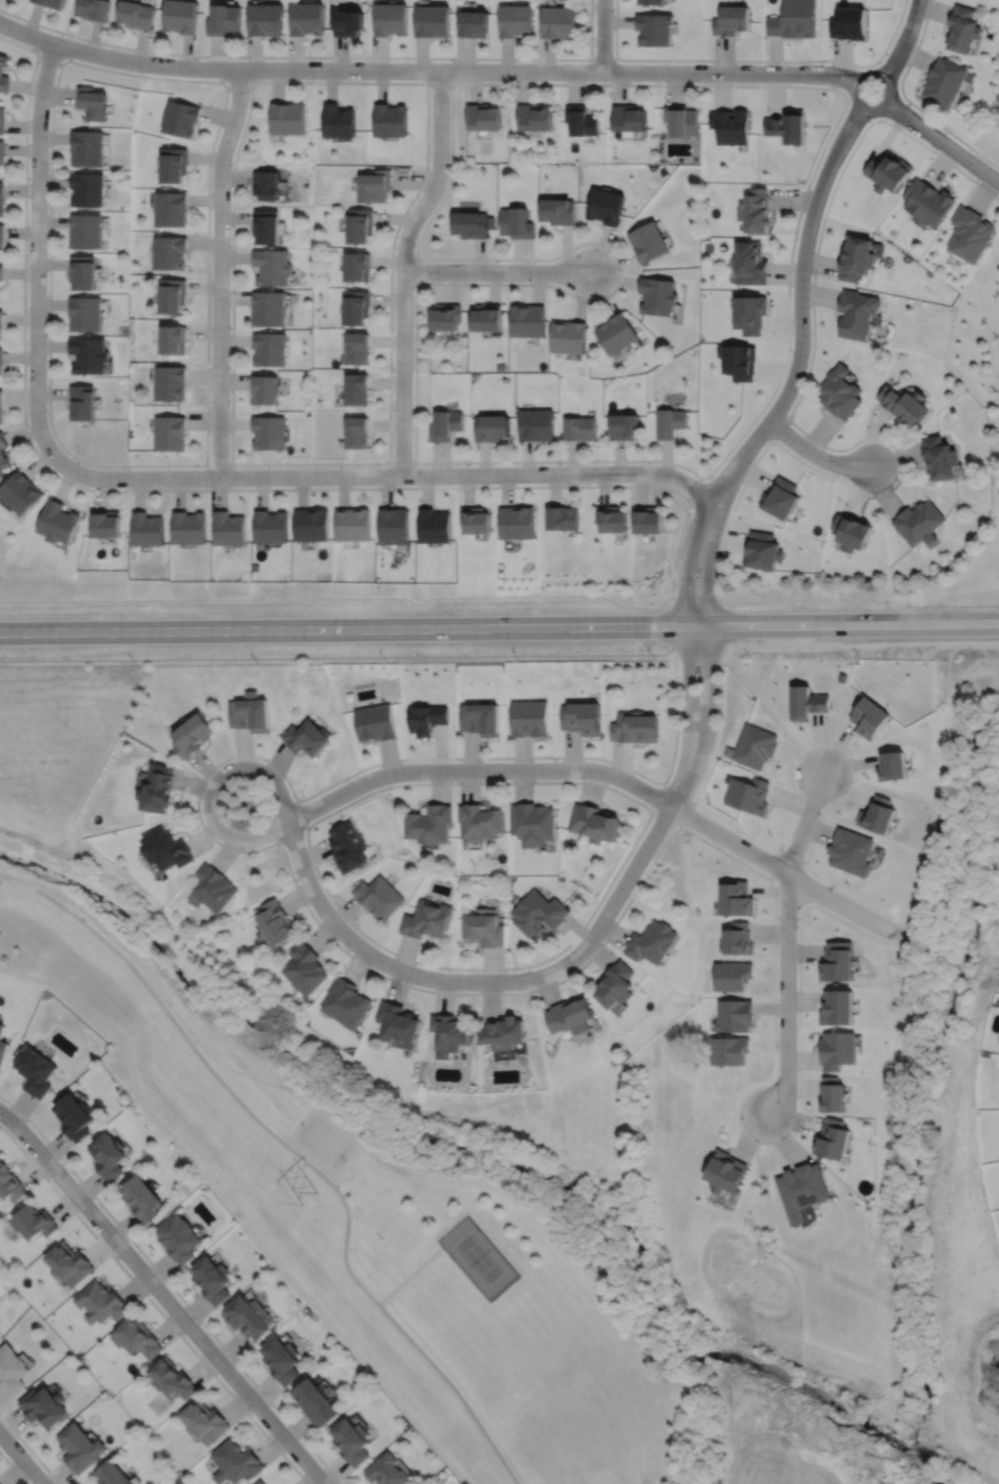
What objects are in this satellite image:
building: (52, 3)
building: (652, 3)
building: (93, 9)
building: (136, 14)
building: (180, 15)
building: (307, 18)
building: (390, 18)
building: (223, 19)
building: (265, 19)
building: (432, 20)
building: (516, 20)
building: (794, 20)
building: (349, 22)
building: (559, 22)
building: (733, 22)
building: (474, 23)
building: (851, 25)
building: (962, 28)
building: (655, 31)
street lamp: (62, 34)
road: (603, 36)
street lamp: (917, 40)
road: (904, 41)
road: (321, 57)
road: (603, 58)
road: (751, 60)
street lamp: (704, 62)
building: (1, 70)
road: (428, 70)
building: (945, 80)
street lamp: (605, 82)
street lamp: (31, 98)
road: (909, 101)
building: (91, 102)
road: (877, 107)
building: (481, 117)
building: (180, 118)
building: (288, 118)
building: (533, 118)
building: (628, 118)
building: (2, 119)
building: (391, 120)
street lamp: (870, 120)
building: (339, 121)
building: (580, 121)
building: (681, 121)
building: (731, 127)
building: (788, 127)
road: (942, 142)
park: (989, 143)
building: (86, 148)
street lamp: (937, 150)
building: (2, 154)
building: (174, 166)
street lamp: (48, 169)
building: (663, 171)
building: (886, 173)
building: (267, 185)
building: (375, 186)
building: (87, 189)
building: (2, 199)
building: (926, 203)
building: (605, 207)
building: (171, 210)
building: (557, 212)
building: (755, 212)
building: (267, 223)
building: (361, 223)
building: (515, 224)
building: (469, 225)
building: (85, 232)
building: (969, 235)
building: (2, 237)
street lamp: (796, 238)
building: (649, 243)
building: (169, 253)
road: (37, 255)
building: (854, 260)
street lamp: (28, 262)
building: (358, 264)
building: (750, 264)
building: (273, 265)
road: (403, 268)
building: (82, 269)
road: (220, 271)
road: (497, 271)
building: (2, 273)
building: (173, 293)
building: (0, 294)
building: (658, 297)
road: (580, 299)
building: (357, 305)
building: (269, 306)
road: (800, 307)
building: (85, 312)
building: (750, 315)
building: (855, 315)
building: (444, 318)
building: (1, 320)
road: (49, 320)
building: (486, 320)
building: (527, 322)
street lamp: (47, 335)
building: (617, 335)
building: (173, 338)
building: (568, 338)
road: (232, 346)
building: (358, 346)
building: (270, 347)
street lamp: (791, 350)
building: (89, 353)
building: (1, 358)
building: (738, 362)
building: (169, 381)
road: (804, 384)
building: (357, 387)
building: (265, 388)
building: (838, 394)
building: (81, 400)
building: (1, 405)
building: (902, 406)
street lamp: (27, 423)
building: (670, 424)
building: (445, 426)
building: (534, 426)
building: (623, 428)
road: (778, 428)
building: (490, 429)
building: (579, 430)
building: (269, 431)
building: (358, 431)
building: (169, 432)
street lamp: (764, 444)
building: (4, 451)
road: (815, 454)
building: (938, 460)
street lamp: (646, 463)
park: (994, 464)
street lamp: (833, 472)
road: (389, 475)
street lamp: (90, 486)
road: (184, 489)
building: (21, 491)
building: (780, 496)
street lamp: (689, 514)
building: (563, 517)
building: (612, 517)
building: (649, 518)
building: (476, 519)
building: (59, 521)
building: (107, 522)
building: (517, 522)
building: (919, 522)
building: (352, 523)
building: (311, 524)
building: (394, 525)
building: (434, 525)
building: (190, 526)
building: (272, 526)
building: (230, 527)
building: (148, 528)
building: (851, 531)
building: (761, 550)
road: (687, 559)
road: (707, 563)
street lamp: (714, 585)
street lamp: (675, 587)
road: (678, 598)
road: (340, 599)
road: (672, 622)
road: (853, 626)
road: (354, 630)
road: (337, 656)
building: (808, 703)
building: (251, 713)
road: (688, 717)
building: (427, 718)
building: (530, 718)
building: (582, 718)
building: (870, 718)
building: (481, 719)
road: (705, 719)
building: (377, 722)
building: (635, 727)
building: (194, 736)
building: (308, 738)
building: (755, 746)
road: (255, 756)
building: (894, 766)
road: (477, 770)
road: (228, 771)
road: (790, 775)
road: (666, 786)
building: (159, 789)
building: (748, 795)
road: (685, 812)
road: (300, 813)
road: (666, 816)
building: (879, 816)
building: (480, 822)
building: (430, 824)
building: (534, 824)
building: (595, 824)
building: (348, 848)
building: (167, 850)
building: (852, 852)
road: (793, 856)
road: (776, 862)
road: (781, 869)
building: (215, 889)
road: (824, 895)
building: (378, 897)
building: (737, 900)
building: (538, 913)
road: (787, 916)
building: (427, 921)
building: (277, 925)
building: (484, 929)
building: (737, 937)
building: (651, 940)
road: (787, 942)
building: (837, 960)
road: (485, 968)
building: (307, 970)
building: (731, 973)
road: (482, 981)
building: (615, 982)
road: (485, 993)
building: (346, 1000)
building: (837, 1005)
building: (568, 1011)
building: (734, 1013)
building: (0, 1016)
building: (399, 1019)
building: (1, 1025)
building: (503, 1030)
building: (448, 1032)
building: (2, 1048)
building: (728, 1048)
building: (836, 1048)
building: (33, 1068)
building: (831, 1093)
building: (74, 1114)
road: (741, 1135)
building: (832, 1138)
park: (323, 1141)
building: (108, 1154)
road: (296, 1154)
building: (724, 1170)
building: (10, 1182)
building: (801, 1188)
building: (140, 1197)
power tower: (309, 1197)
building: (35, 1221)
park: (392, 1222)
park: (371, 1230)
building: (177, 1237)
park: (478, 1256)
building: (69, 1263)
road: (411, 1274)
building: (211, 1279)
road: (173, 1287)
road: (163, 1296)
building: (101, 1302)
road: (154, 1305)
building: (248, 1317)
building: (137, 1337)
building: (281, 1359)
building: (11, 1369)
building: (172, 1378)
building: (314, 1402)
building: (45, 1406)
building: (202, 1421)
building: (351, 1441)
building: (81, 1448)
road: (29, 1449)
road: (21, 1458)
building: (233, 1462)
road: (13, 1468)
building: (386, 1471)
building: (110, 1474)
building: (259, 1482)

